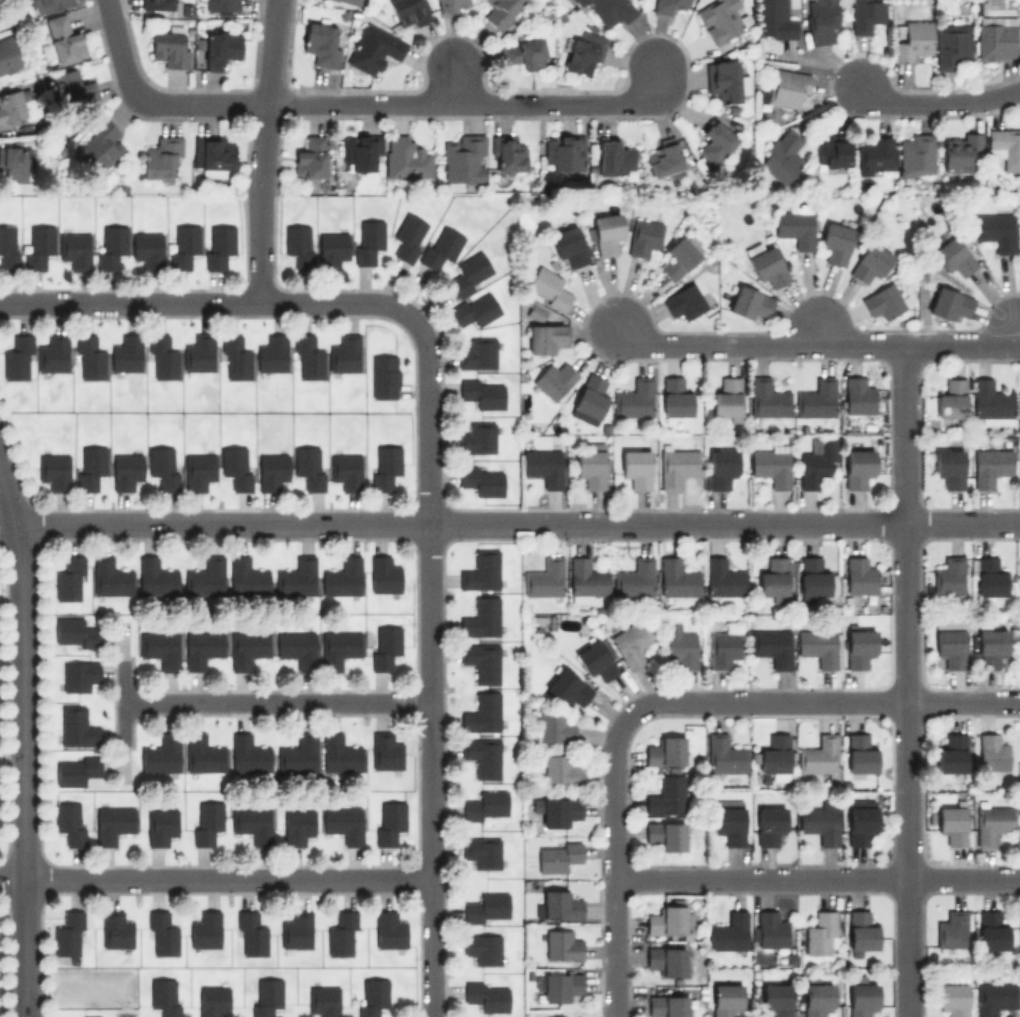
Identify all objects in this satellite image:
building: (349, 2)
building: (577, 2)
building: (157, 4)
building: (47, 5)
building: (220, 5)
building: (452, 5)
building: (668, 5)
building: (502, 10)
building: (610, 10)
building: (409, 12)
building: (864, 14)
building: (720, 19)
building: (775, 19)
building: (821, 20)
building: (996, 37)
building: (911, 39)
building: (62, 40)
building: (320, 44)
road: (118, 45)
building: (951, 45)
building: (170, 46)
building: (220, 48)
building: (373, 48)
building: (524, 52)
building: (583, 53)
building: (9, 54)
building: (725, 80)
building: (787, 87)
building: (72, 88)
road: (195, 103)
road: (473, 103)
building: (11, 106)
road: (943, 112)
building: (715, 141)
building: (99, 146)
building: (1004, 146)
road: (260, 150)
building: (959, 150)
building: (360, 152)
building: (564, 152)
building: (832, 152)
building: (212, 154)
building: (915, 154)
building: (507, 155)
building: (782, 155)
building: (874, 155)
building: (161, 156)
building: (310, 157)
building: (615, 157)
building: (406, 158)
building: (664, 160)
building: (462, 161)
building: (13, 163)
building: (796, 226)
building: (994, 230)
building: (605, 232)
building: (409, 236)
building: (644, 236)
building: (367, 240)
building: (835, 242)
building: (569, 244)
building: (183, 245)
building: (298, 245)
building: (38, 246)
building: (110, 246)
building: (217, 246)
building: (8, 247)
building: (441, 247)
building: (75, 248)
building: (147, 249)
building: (331, 249)
building: (952, 254)
building: (678, 257)
building: (870, 262)
building: (766, 264)
building: (470, 273)
building: (548, 288)
building: (884, 300)
building: (683, 301)
road: (208, 302)
building: (748, 302)
building: (950, 304)
building: (474, 309)
road: (816, 331)
road: (1017, 332)
building: (546, 338)
road: (758, 347)
road: (962, 348)
building: (53, 353)
building: (126, 353)
building: (199, 353)
building: (271, 353)
building: (344, 353)
building: (477, 353)
building: (89, 357)
building: (161, 357)
building: (307, 357)
building: (17, 358)
building: (234, 358)
building: (383, 376)
building: (553, 380)
building: (482, 392)
building: (858, 394)
building: (675, 397)
building: (727, 397)
building: (767, 397)
building: (634, 398)
building: (816, 398)
building: (990, 399)
building: (589, 400)
building: (951, 400)
building: (1019, 403)
building: (477, 438)
building: (816, 462)
building: (677, 464)
building: (772, 464)
building: (384, 465)
building: (591, 465)
building: (89, 466)
building: (235, 466)
building: (309, 466)
building: (543, 466)
building: (949, 466)
building: (990, 466)
building: (163, 467)
building: (636, 467)
building: (720, 467)
building: (857, 467)
building: (1019, 468)
building: (54, 470)
building: (125, 470)
building: (197, 470)
building: (271, 470)
building: (346, 470)
building: (481, 479)
road: (7, 501)
road: (509, 522)
building: (480, 570)
building: (1019, 572)
building: (383, 574)
building: (859, 575)
building: (949, 575)
building: (110, 576)
building: (296, 576)
building: (156, 577)
building: (205, 577)
building: (247, 577)
building: (342, 577)
building: (813, 577)
building: (989, 577)
building: (544, 578)
building: (636, 578)
building: (678, 578)
building: (724, 578)
building: (69, 579)
building: (774, 579)
building: (585, 580)
road: (429, 596)
building: (480, 616)
building: (73, 632)
building: (632, 642)
building: (950, 642)
building: (681, 645)
building: (383, 646)
building: (772, 646)
building: (818, 646)
building: (297, 647)
building: (338, 647)
building: (859, 647)
building: (991, 647)
building: (160, 648)
building: (202, 648)
building: (247, 648)
building: (723, 648)
building: (595, 660)
building: (480, 662)
building: (79, 675)
road: (907, 683)
building: (567, 687)
road: (824, 701)
road: (276, 702)
building: (481, 713)
building: (76, 727)
building: (553, 727)
building: (384, 751)
building: (664, 751)
building: (991, 752)
building: (202, 753)
building: (248, 753)
building: (298, 753)
building: (860, 753)
building: (950, 753)
building: (160, 754)
building: (339, 754)
building: (724, 755)
building: (481, 756)
building: (775, 756)
building: (819, 756)
building: (75, 769)
road: (22, 770)
building: (560, 770)
building: (667, 795)
building: (485, 805)
building: (559, 811)
building: (729, 820)
building: (860, 820)
building: (69, 821)
building: (206, 821)
building: (388, 822)
building: (820, 822)
building: (113, 823)
building: (251, 823)
building: (343, 823)
building: (992, 823)
building: (769, 824)
building: (952, 824)
building: (160, 826)
building: (297, 826)
building: (665, 834)
building: (482, 851)
building: (556, 855)
road: (617, 864)
road: (215, 879)
road: (818, 879)
building: (557, 904)
building: (486, 908)
building: (666, 920)
building: (115, 929)
building: (296, 929)
building: (389, 929)
building: (770, 929)
building: (952, 929)
building: (205, 930)
building: (861, 930)
building: (991, 930)
building: (728, 932)
building: (821, 933)
building: (68, 934)
building: (161, 934)
building: (250, 934)
building: (341, 934)
building: (561, 945)
road: (431, 948)
building: (482, 948)
building: (664, 959)
building: (559, 986)
building: (164, 996)
building: (265, 996)
building: (371, 996)
building: (487, 996)
building: (861, 998)
building: (952, 998)
building: (995, 998)
building: (725, 999)
building: (776, 999)
building: (816, 999)
building: (212, 1000)
building: (323, 1000)
building: (667, 1003)
building: (88, 1016)
building: (563, 1016)
building: (565, 1016)
building: (580, 1016)

